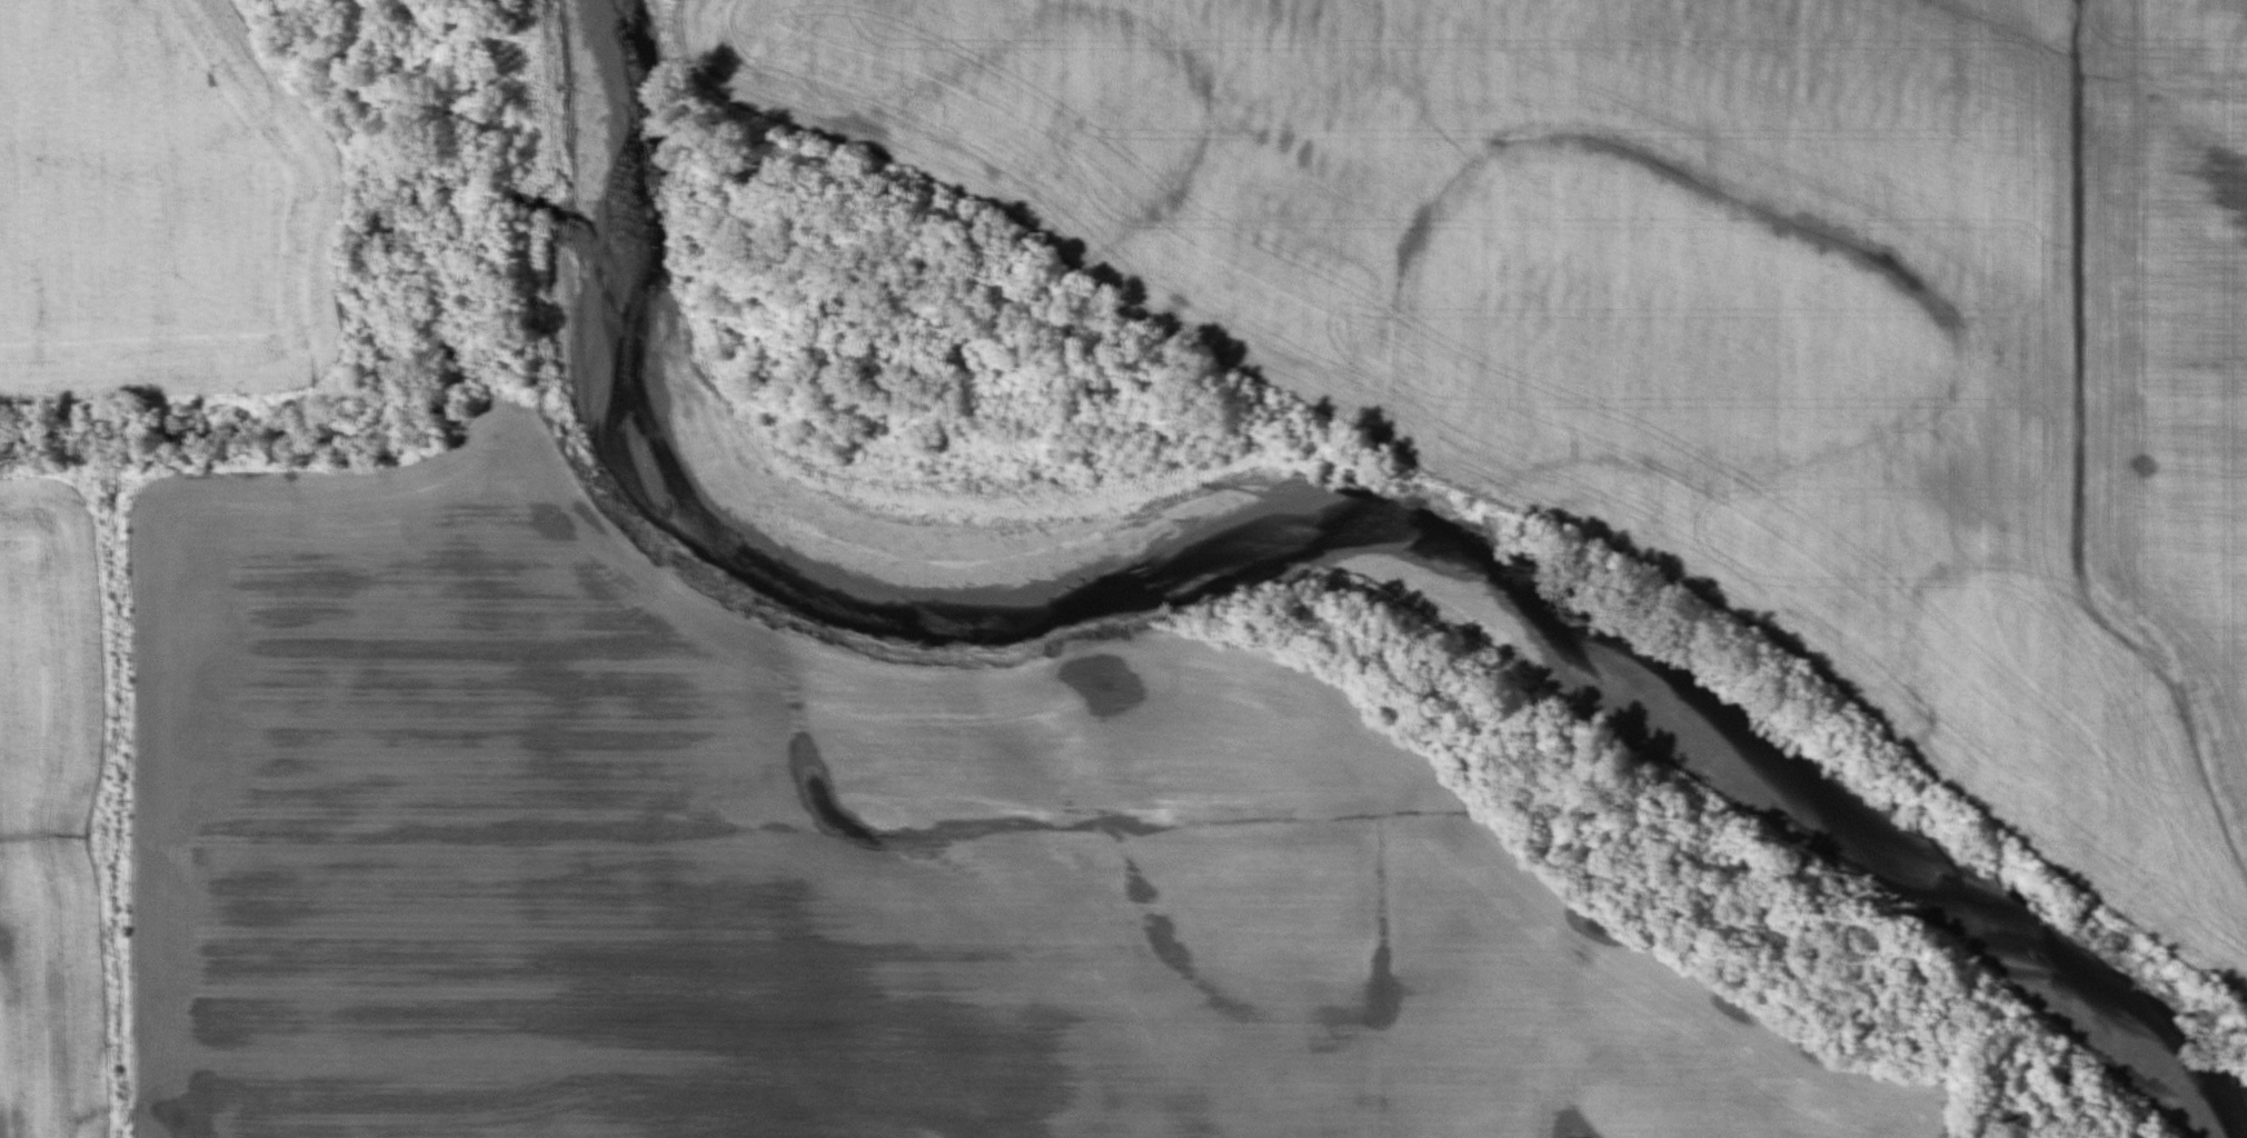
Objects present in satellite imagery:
crop: (161, 209)
crop: (1704, 312)
river: (1285, 509)
crop: (834, 861)

